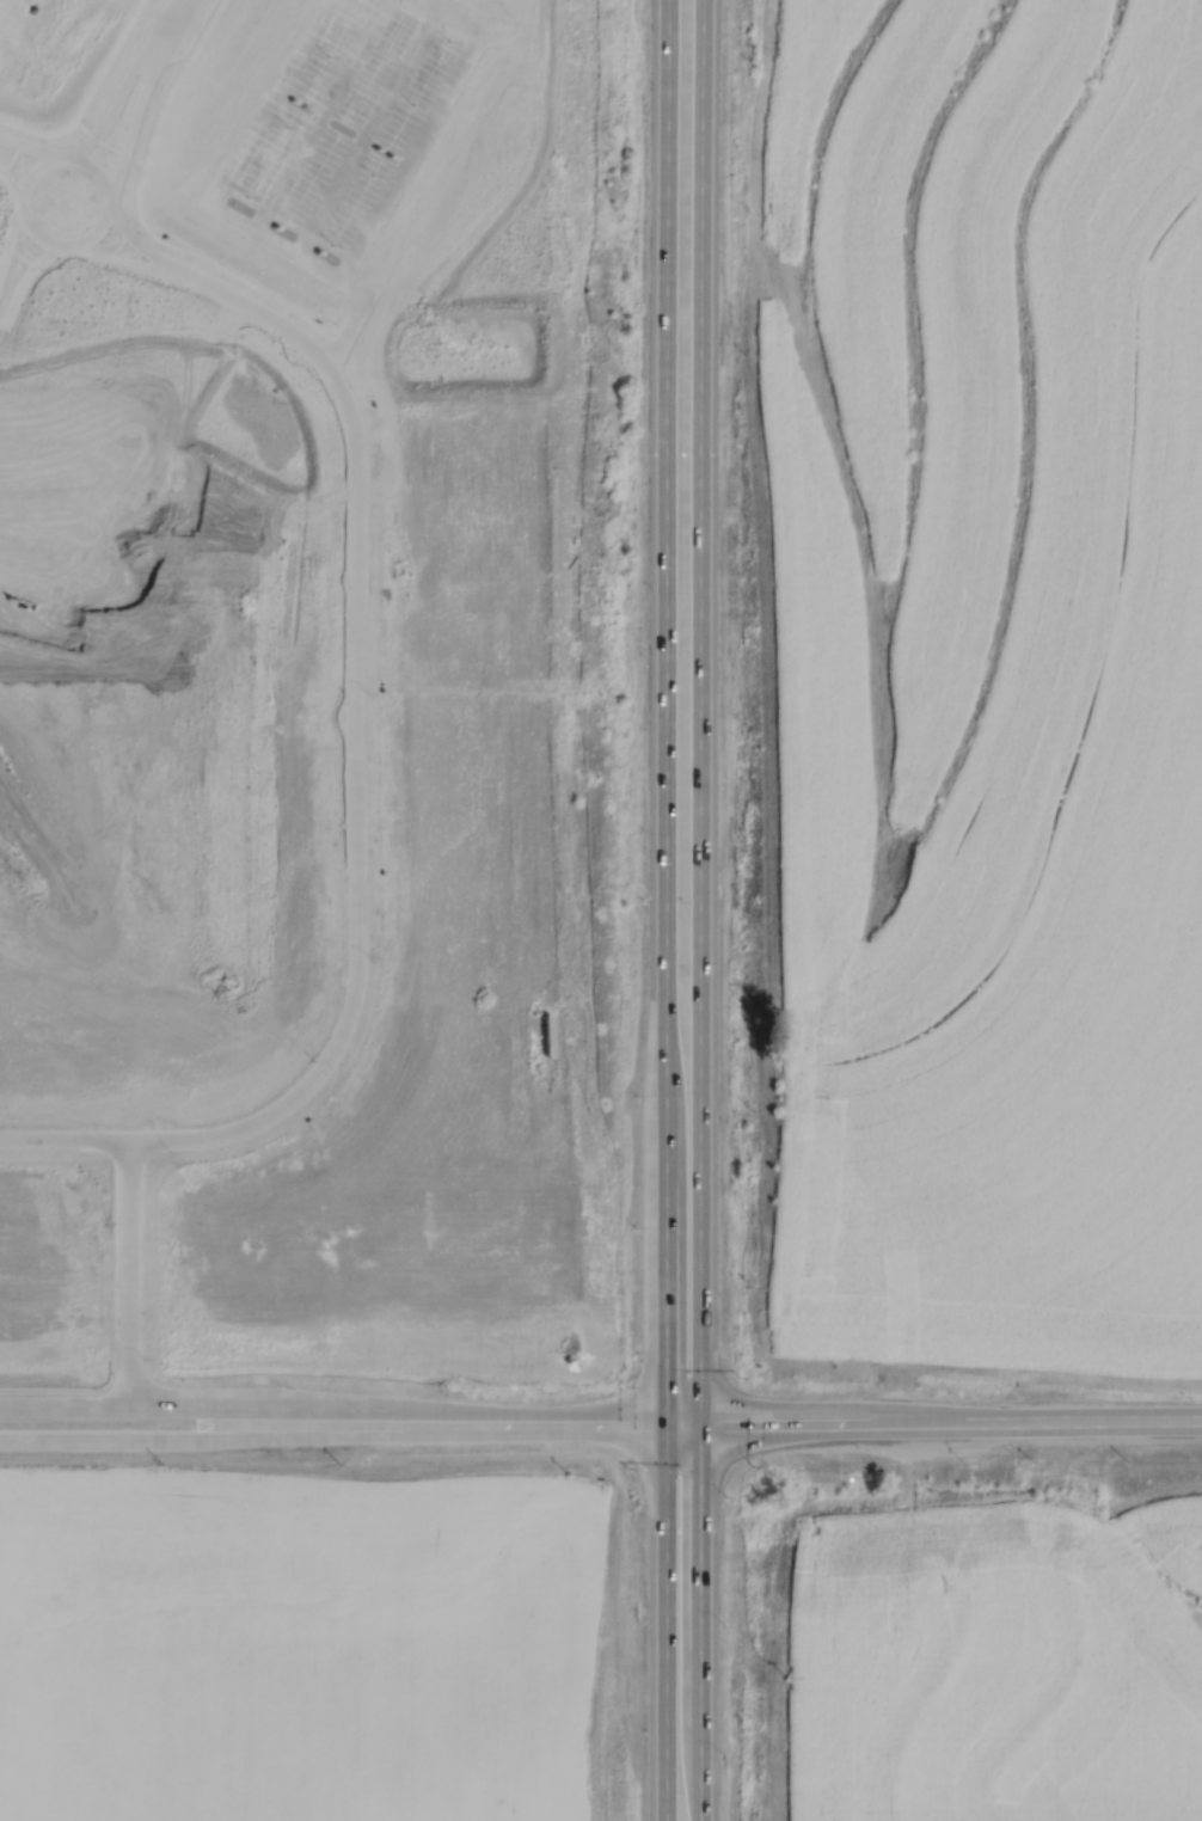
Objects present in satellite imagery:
road: (14, 26)
road: (162, 26)
road: (110, 109)
road: (315, 112)
road: (127, 125)
road: (364, 125)
road: (423, 129)
road: (30, 145)
road: (8, 188)
road: (222, 208)
road: (31, 231)
road: (135, 243)
road: (122, 258)
road: (352, 620)
crop: (986, 679)
road: (663, 712)
road: (697, 712)
road: (243, 1124)
road: (63, 1140)
road: (127, 1274)
road: (104, 1386)
road: (933, 1423)
road: (246, 1425)
road: (455, 1427)
road: (663, 1623)
road: (697, 1623)

